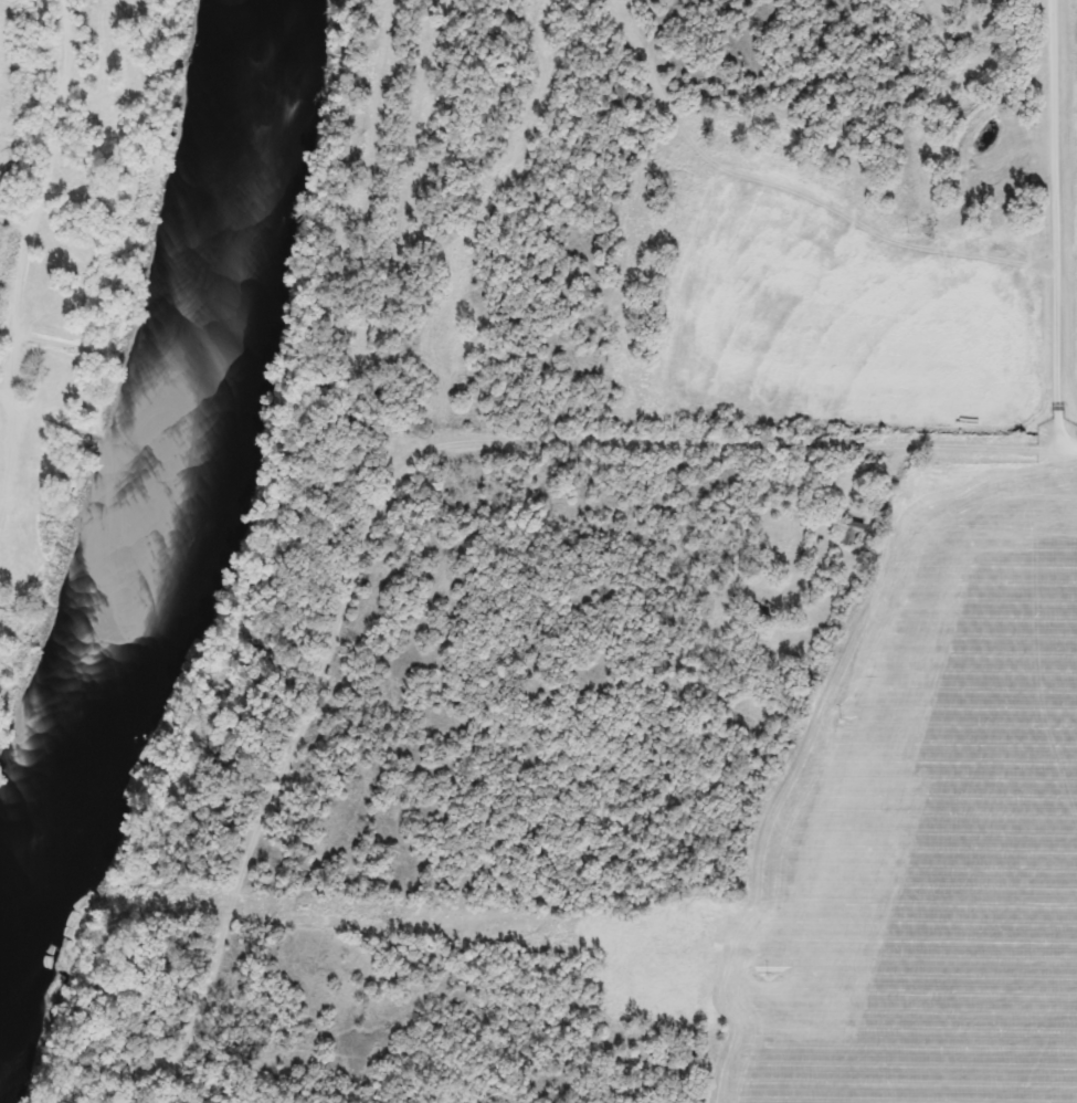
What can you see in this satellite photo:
road: (1050, 231)
river: (135, 470)
building: (848, 532)

